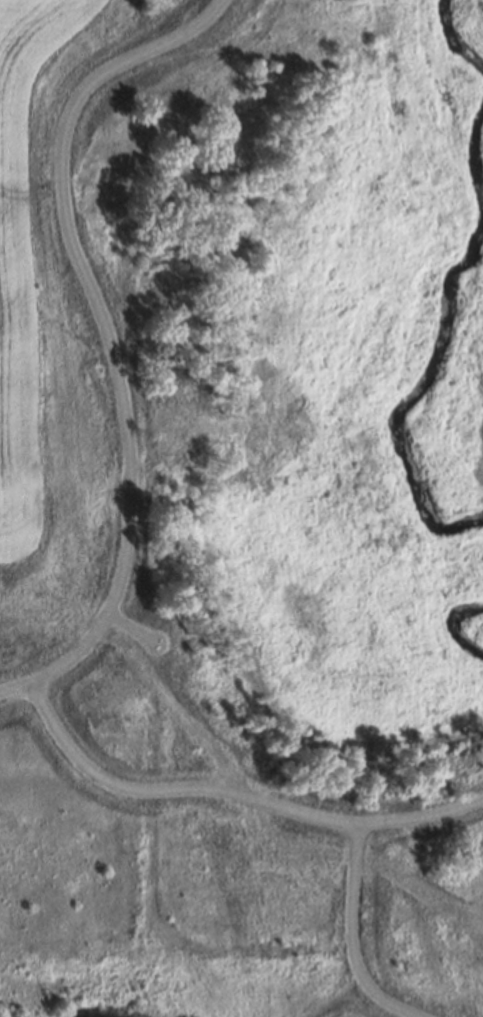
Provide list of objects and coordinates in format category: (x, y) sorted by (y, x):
road: (106, 334)
road: (171, 790)
road: (421, 817)
road: (355, 938)

